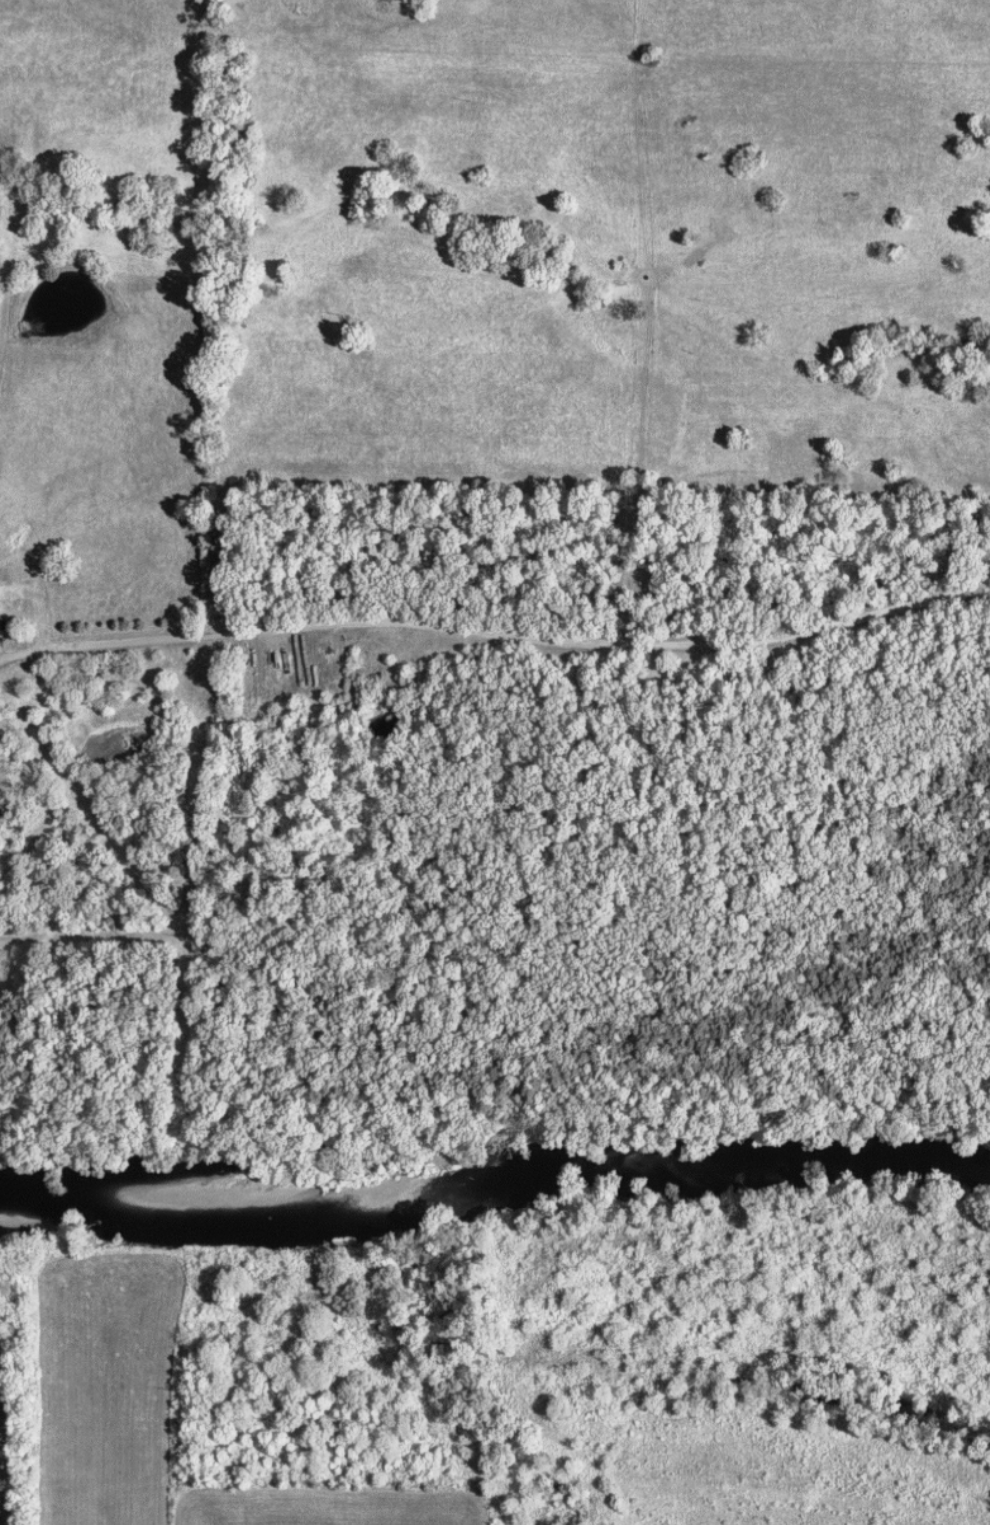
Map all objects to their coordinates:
road: (500, 635)
river: (496, 1179)

